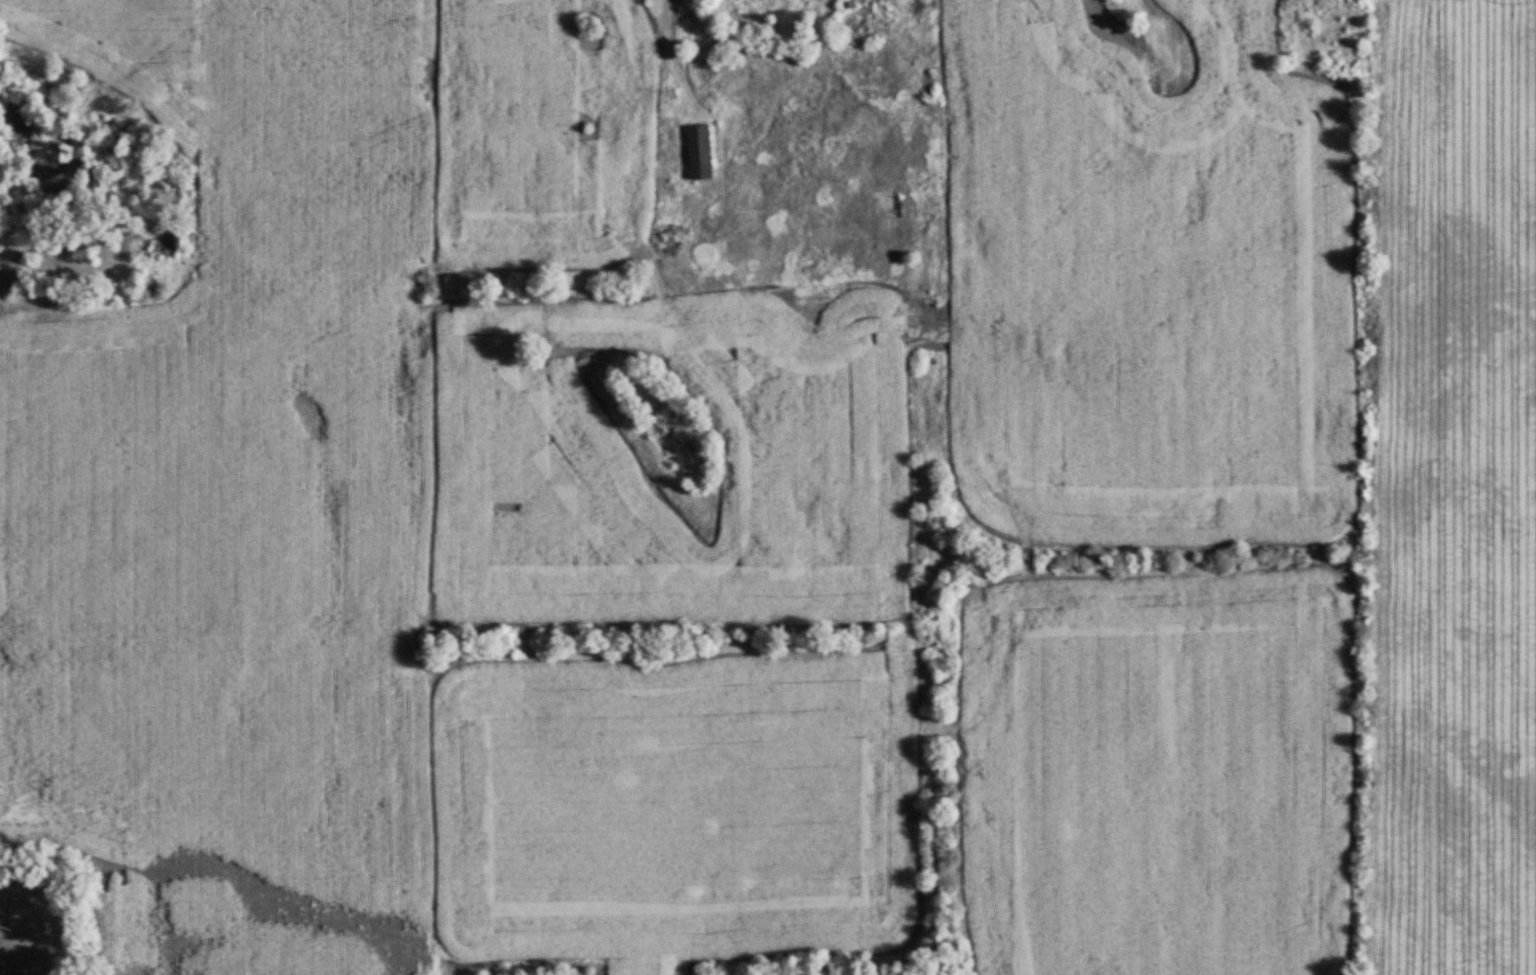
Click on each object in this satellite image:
building: (869, 23)
building: (699, 154)
building: (892, 207)

